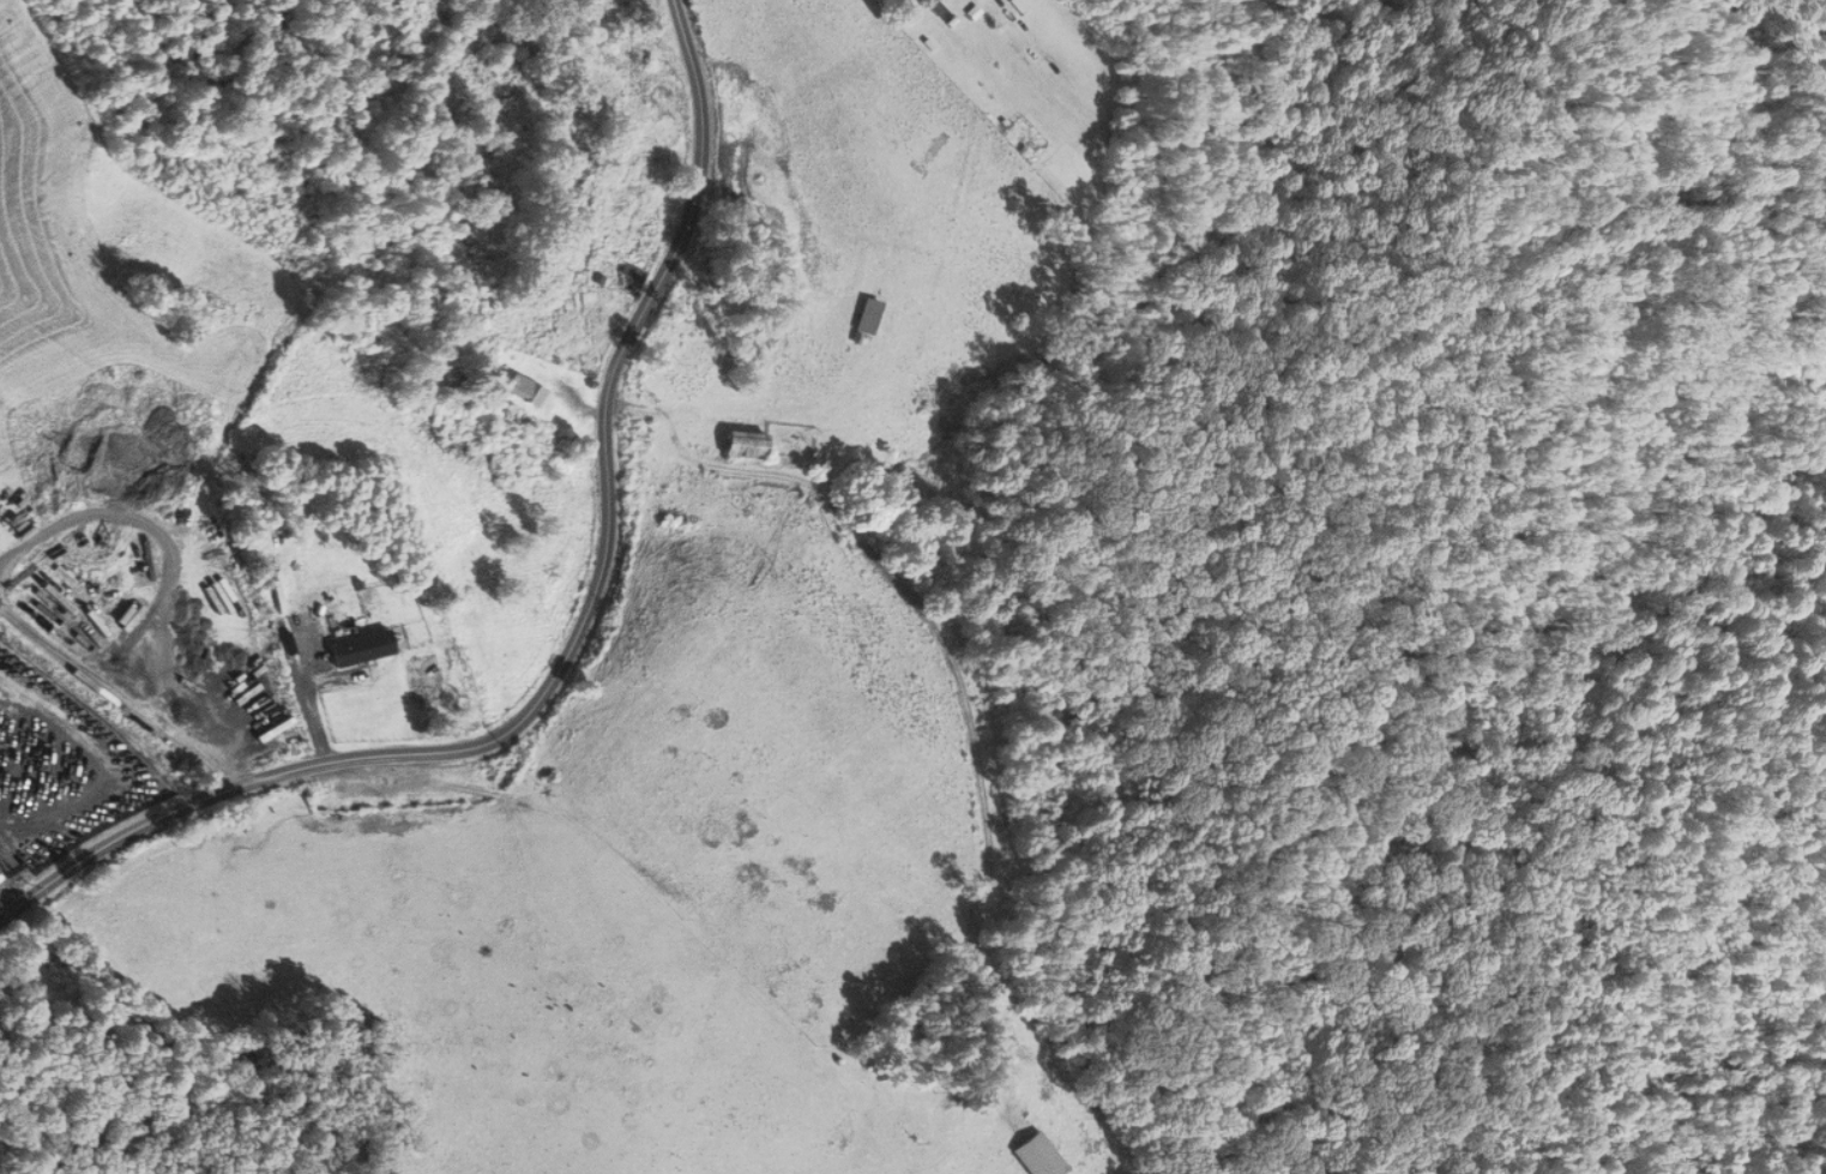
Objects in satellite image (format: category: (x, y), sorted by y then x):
building: (1016, 5)
building: (631, 273)
building: (868, 315)
building: (524, 390)
building: (747, 445)
road: (575, 637)
building: (357, 690)
building: (1039, 1156)

